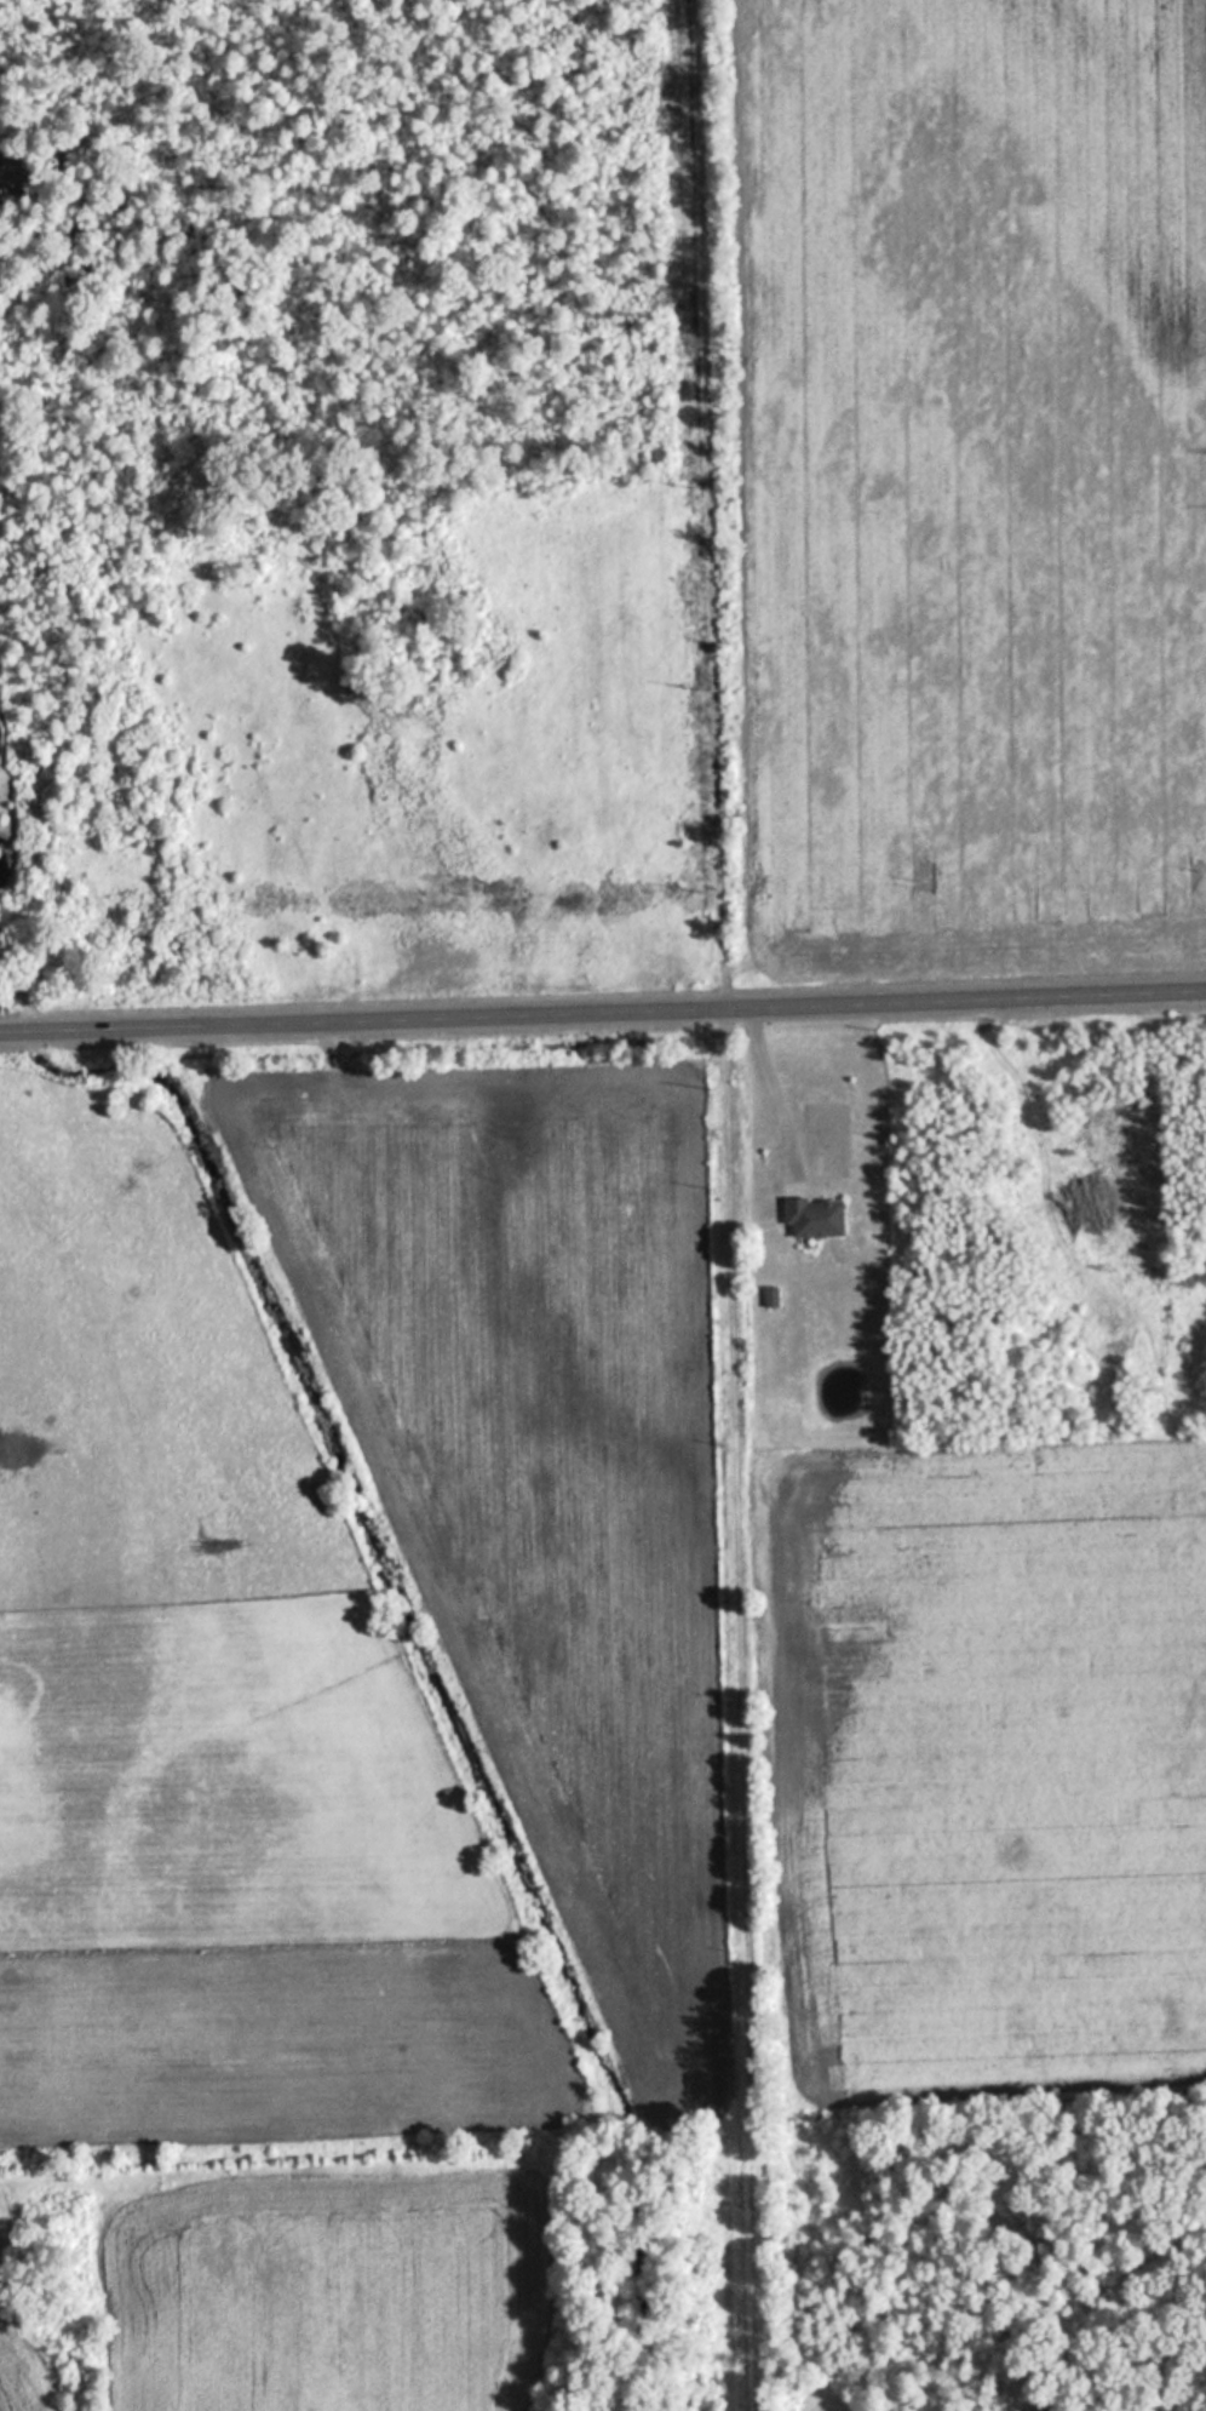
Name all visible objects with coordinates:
road: (603, 1007)
building: (811, 1215)
road: (707, 1707)

